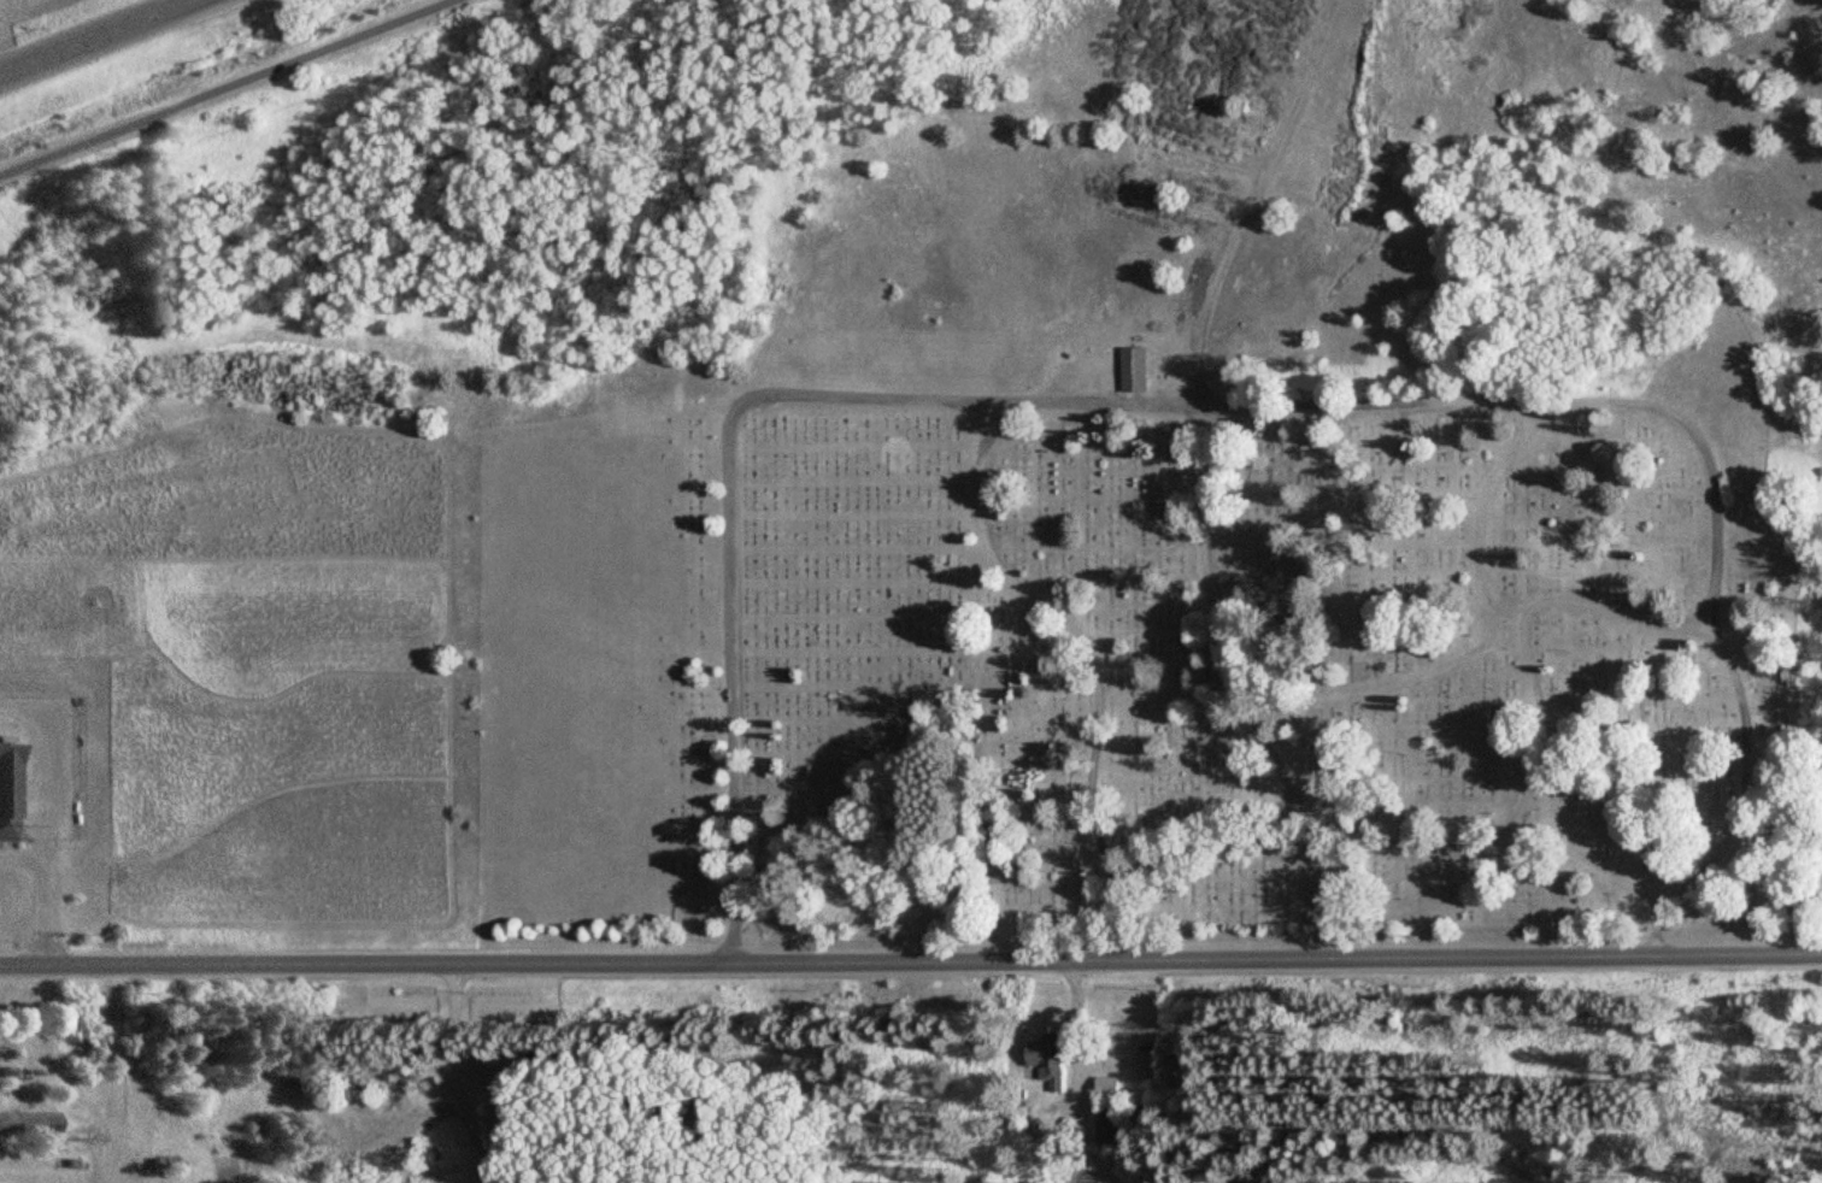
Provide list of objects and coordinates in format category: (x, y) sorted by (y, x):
road: (96, 36)
road: (230, 88)
road: (1250, 195)
building: (1134, 365)
road: (1133, 395)
road: (871, 398)
road: (998, 422)
road: (1694, 613)
road: (1523, 626)
road: (1224, 631)
park: (1263, 649)
road: (1093, 661)
road: (45, 764)
building: (8, 793)
road: (1695, 875)
road: (46, 884)
road: (1655, 929)
road: (911, 960)
building: (1048, 1060)
building: (1109, 1088)
building: (30, 1119)
building: (1109, 1120)

